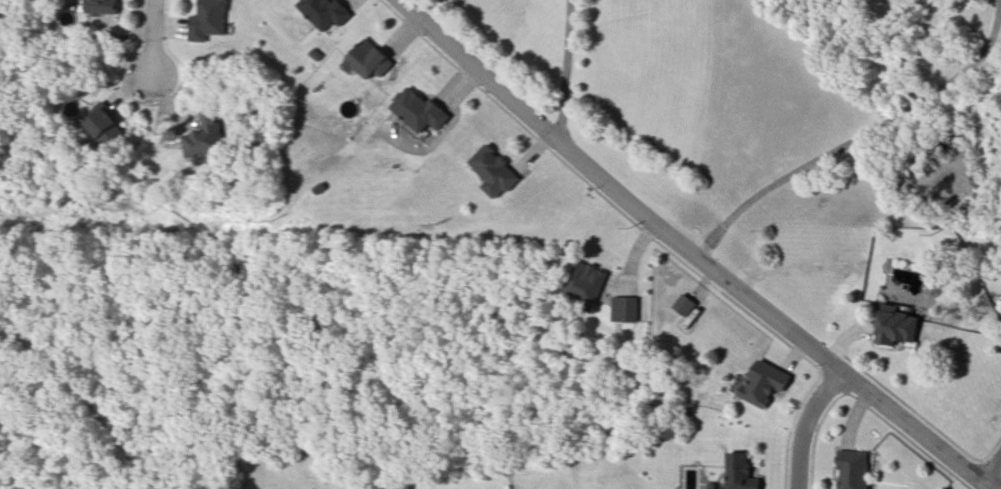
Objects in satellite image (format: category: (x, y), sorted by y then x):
building: (99, 6)
building: (323, 12)
building: (207, 20)
road: (153, 37)
building: (367, 58)
road: (569, 72)
building: (419, 111)
building: (105, 128)
building: (203, 132)
road: (855, 148)
building: (491, 170)
road: (613, 194)
building: (586, 282)
building: (684, 304)
building: (625, 306)
building: (896, 329)
building: (764, 385)
road: (809, 428)
road: (913, 433)
building: (854, 468)
building: (742, 471)
road: (993, 479)
building: (391, 488)
building: (402, 488)

